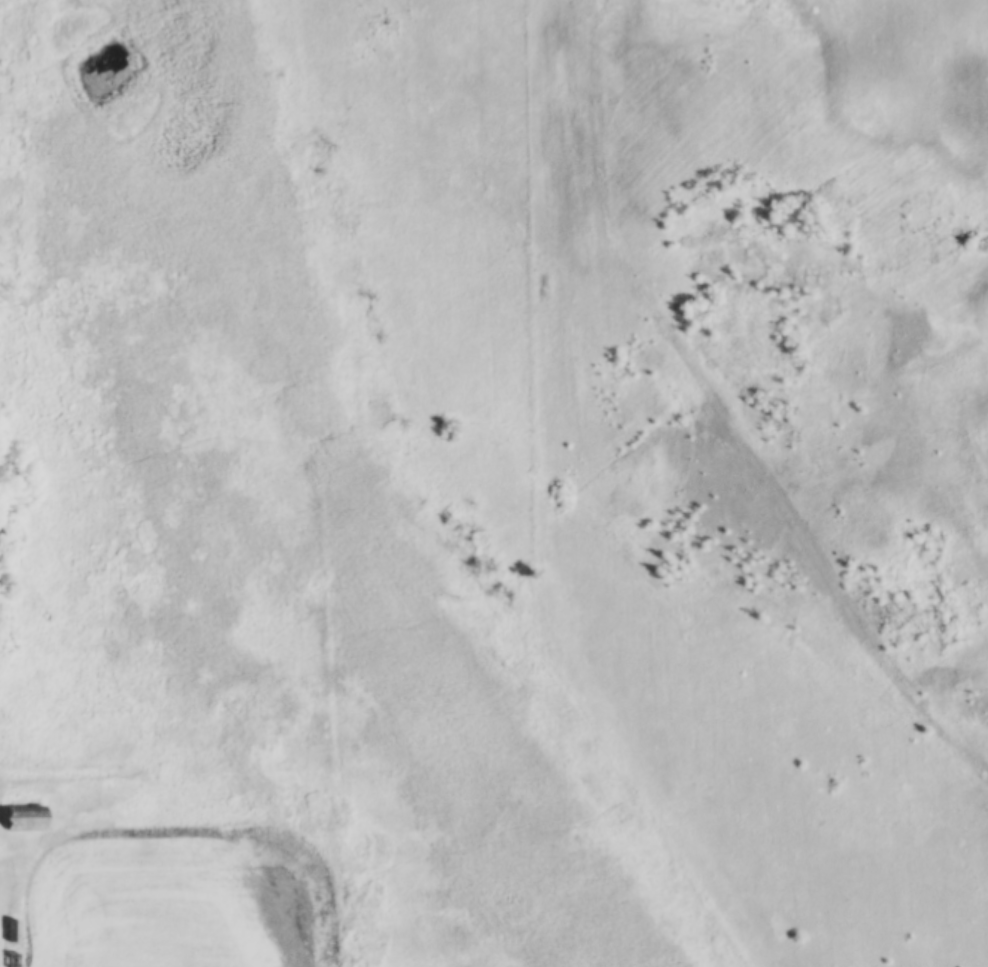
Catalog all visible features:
road: (721, 416)
building: (20, 818)
building: (11, 931)
building: (11, 960)

